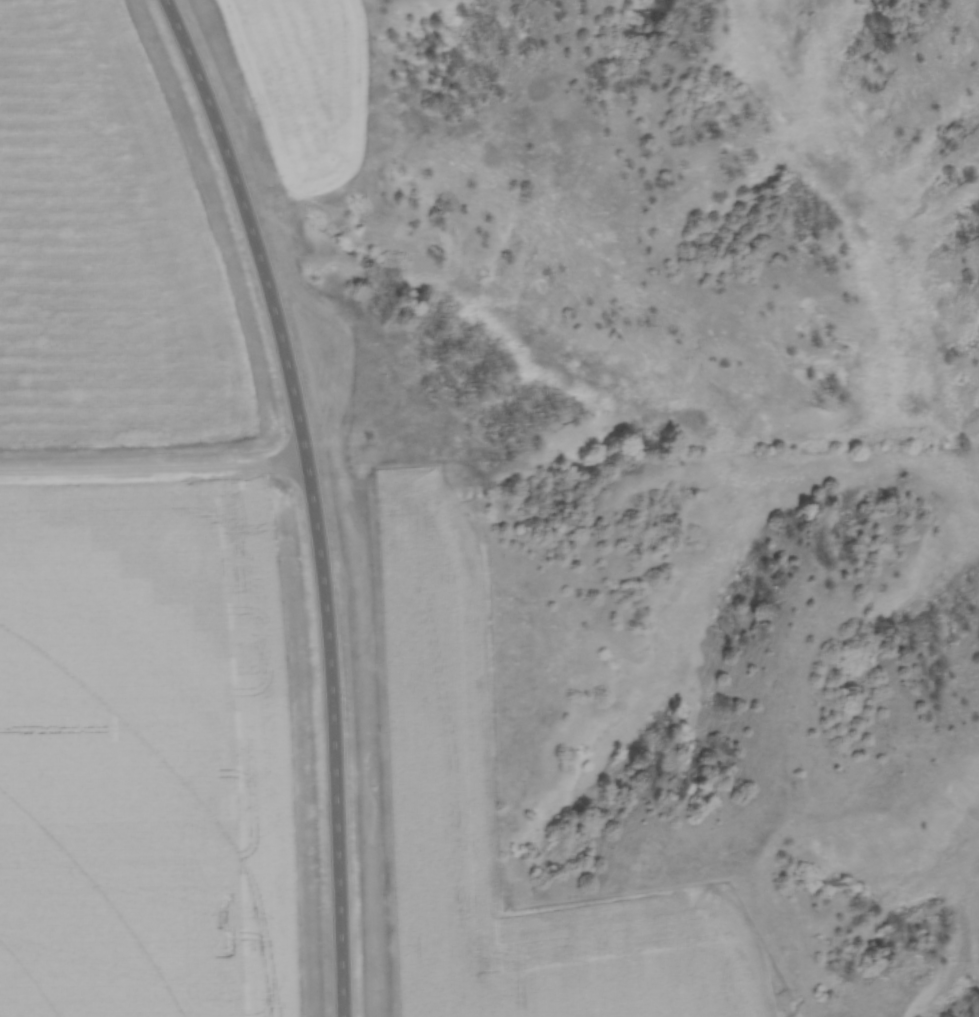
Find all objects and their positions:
road: (312, 497)

